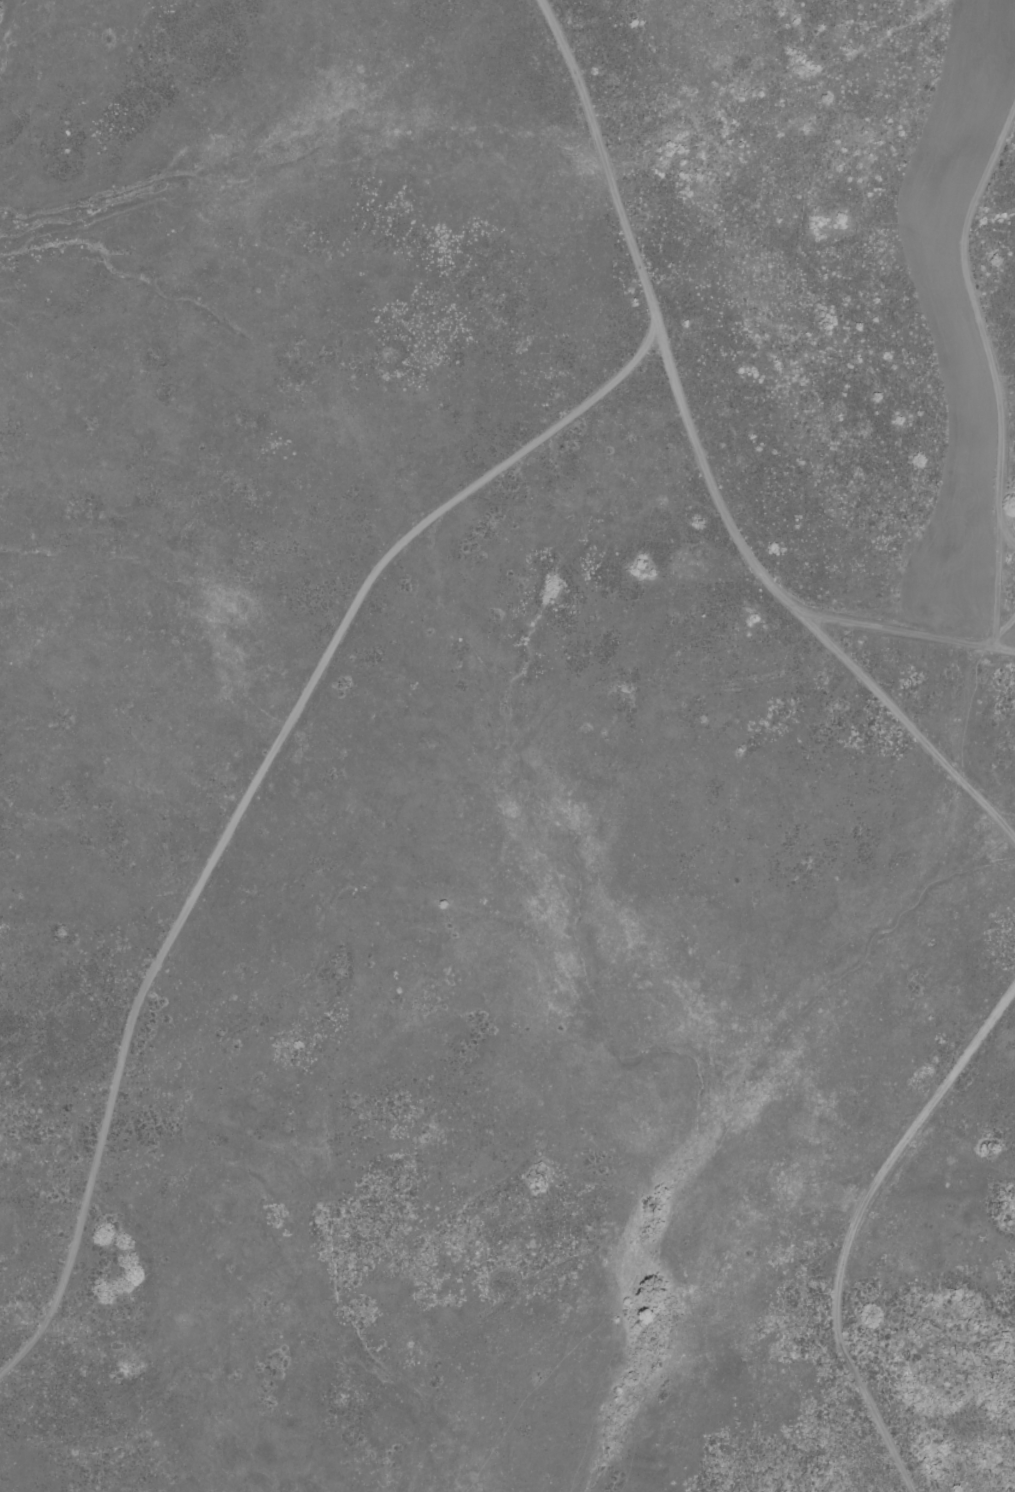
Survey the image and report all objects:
road: (982, 329)

